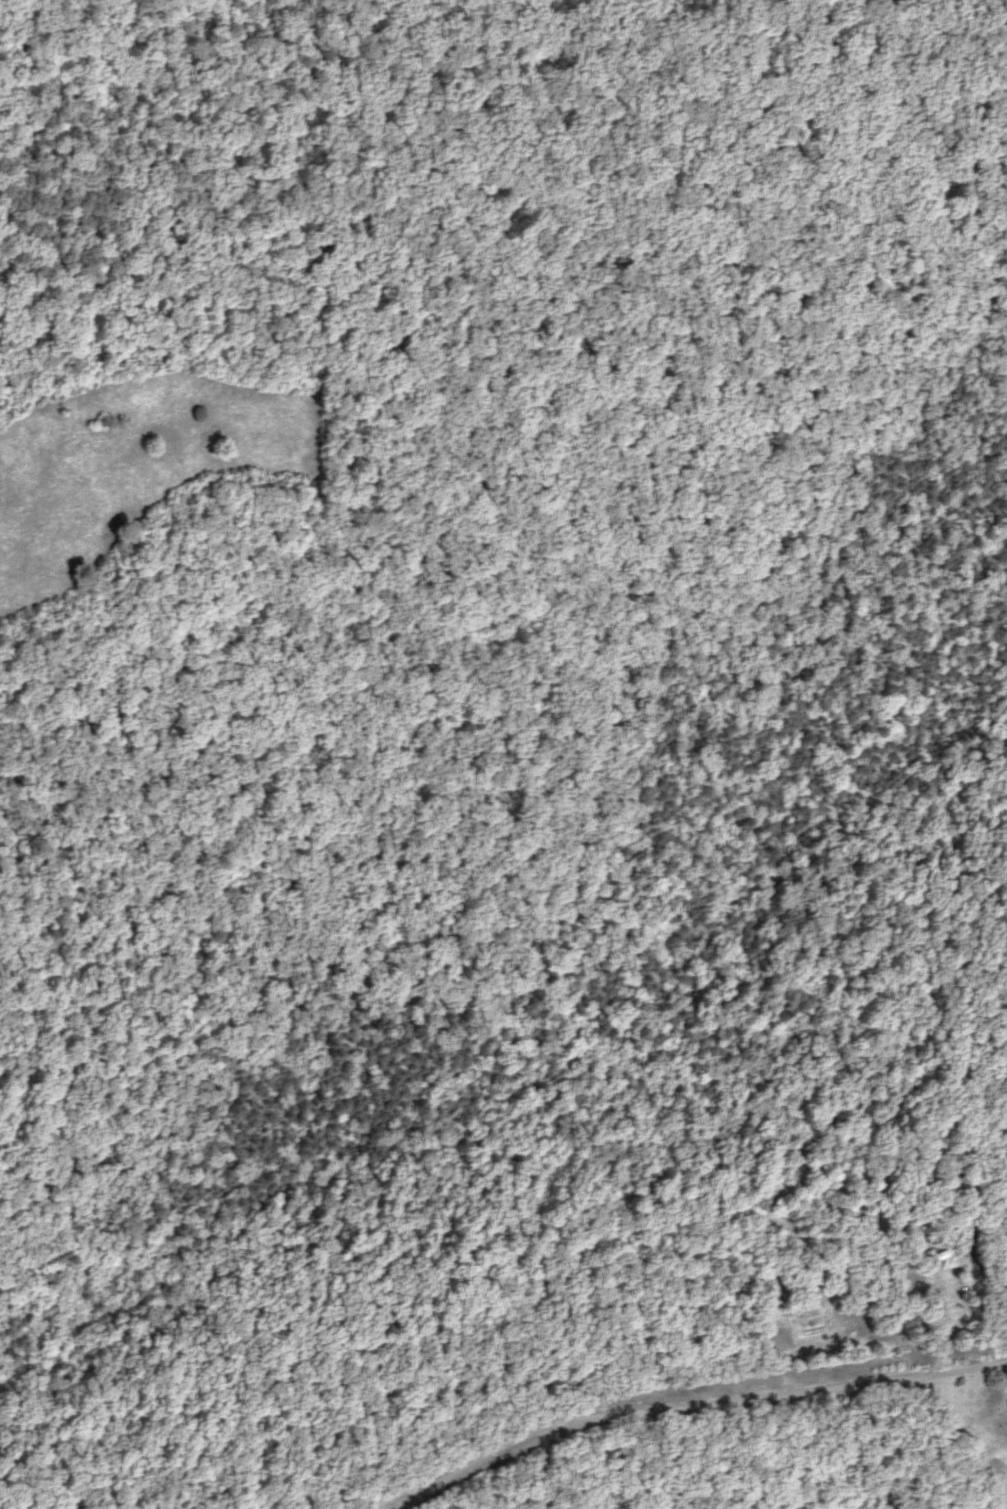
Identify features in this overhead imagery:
building: (944, 1257)
road: (692, 1406)

